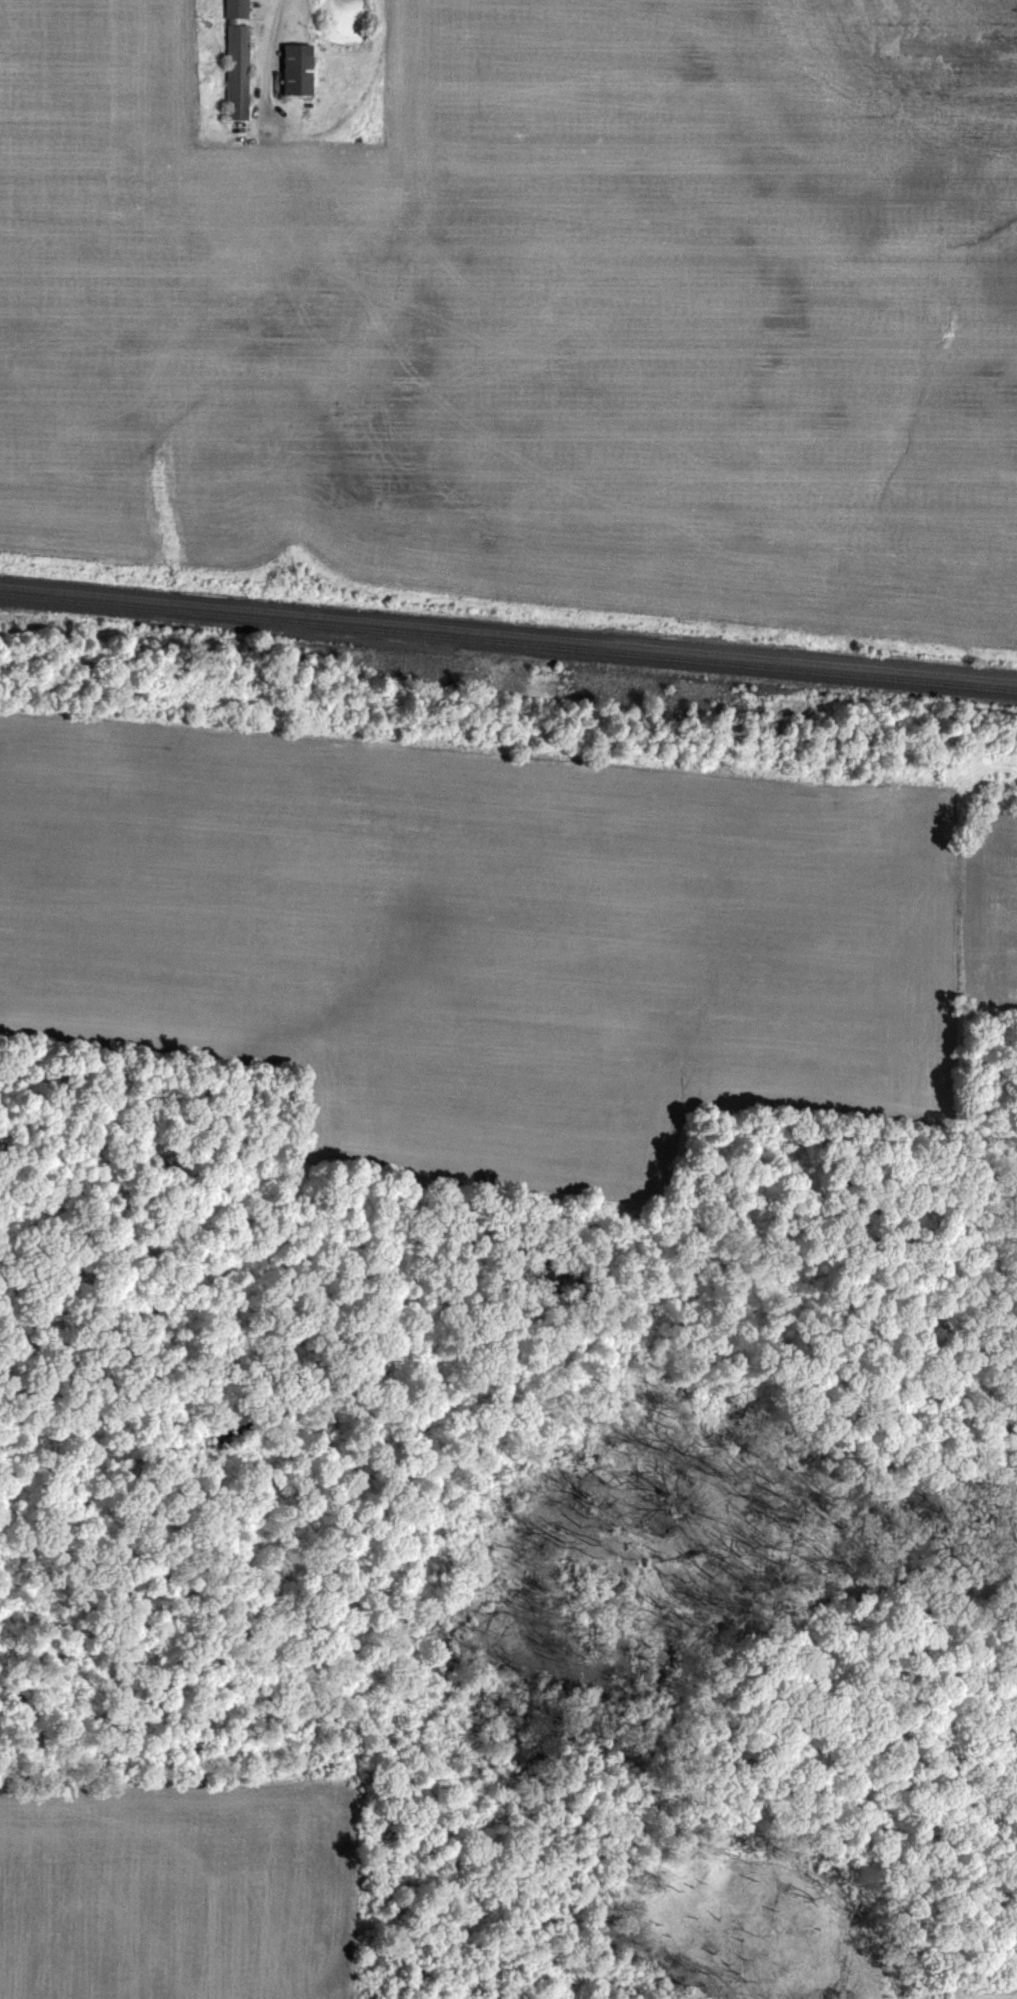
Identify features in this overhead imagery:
road: (269, 29)
building: (233, 60)
building: (293, 69)
railway: (508, 631)
railway: (508, 641)

